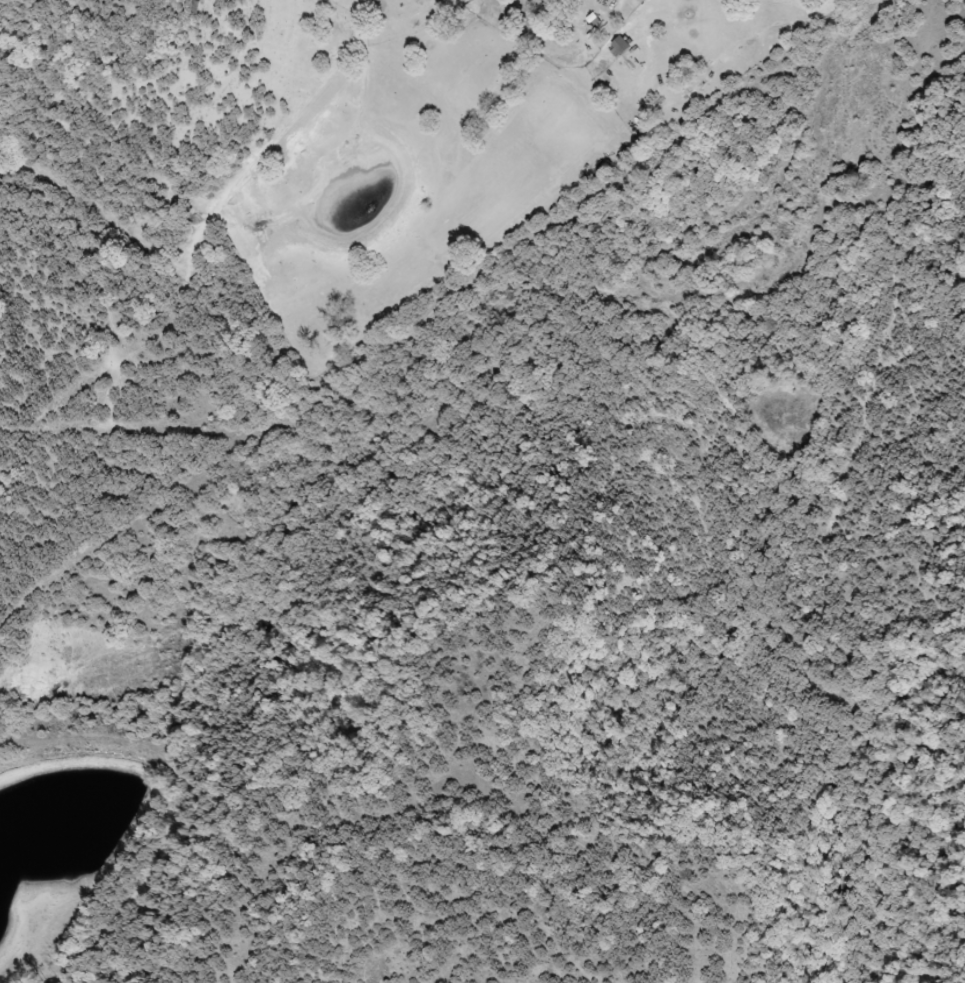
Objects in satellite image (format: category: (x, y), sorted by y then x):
building: (626, 50)
road: (390, 62)

